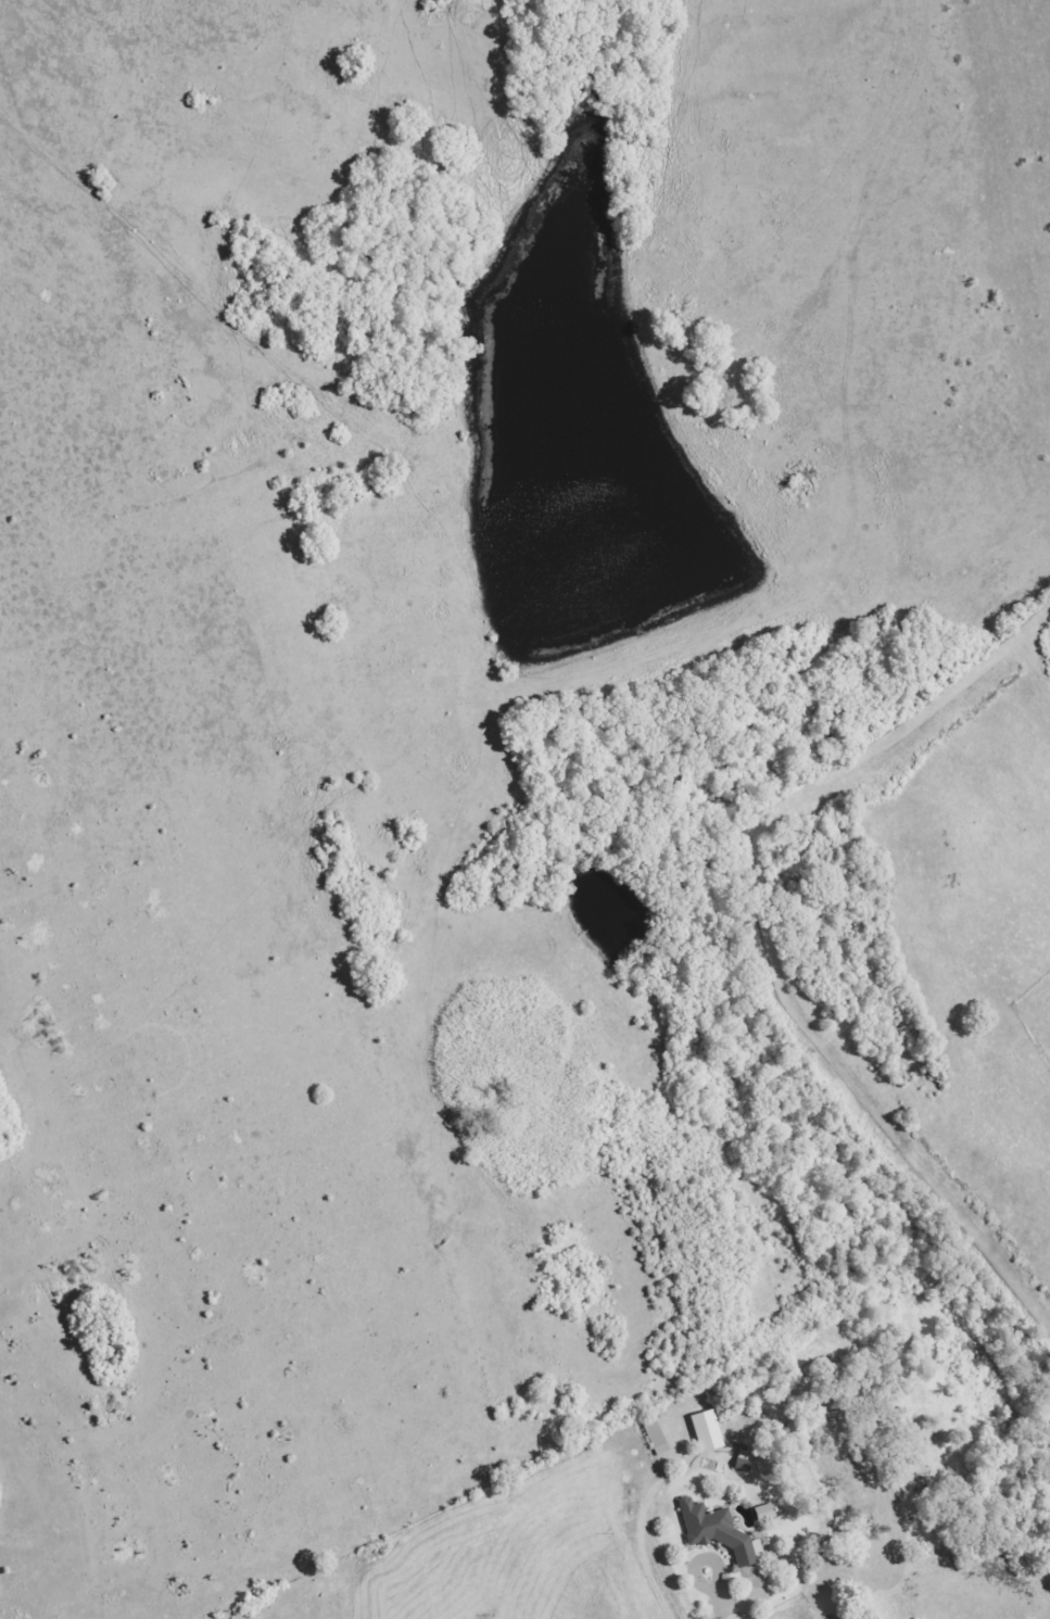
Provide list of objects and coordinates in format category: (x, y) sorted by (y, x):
building: (705, 1431)
building: (655, 1438)
building: (716, 1531)

